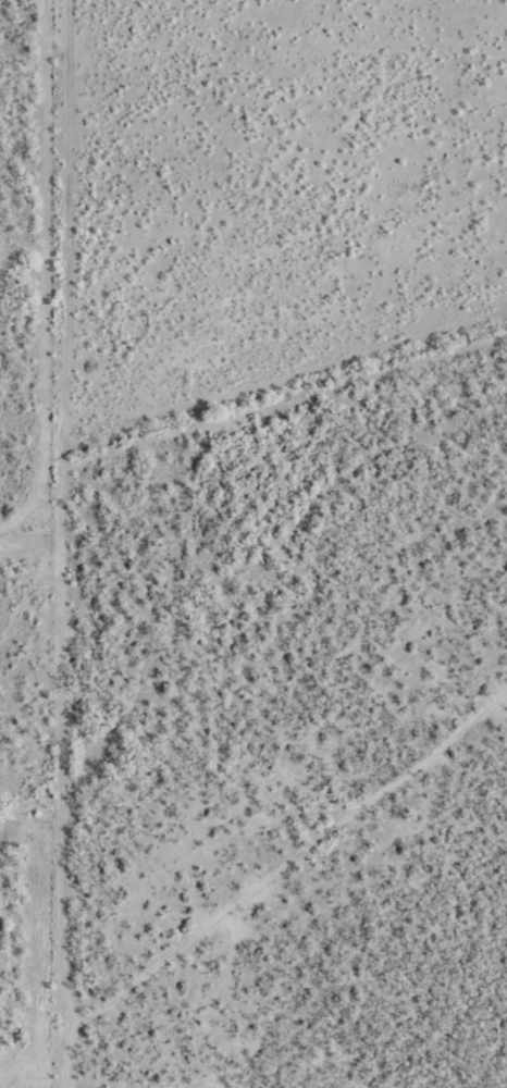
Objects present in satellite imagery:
road: (67, 350)

